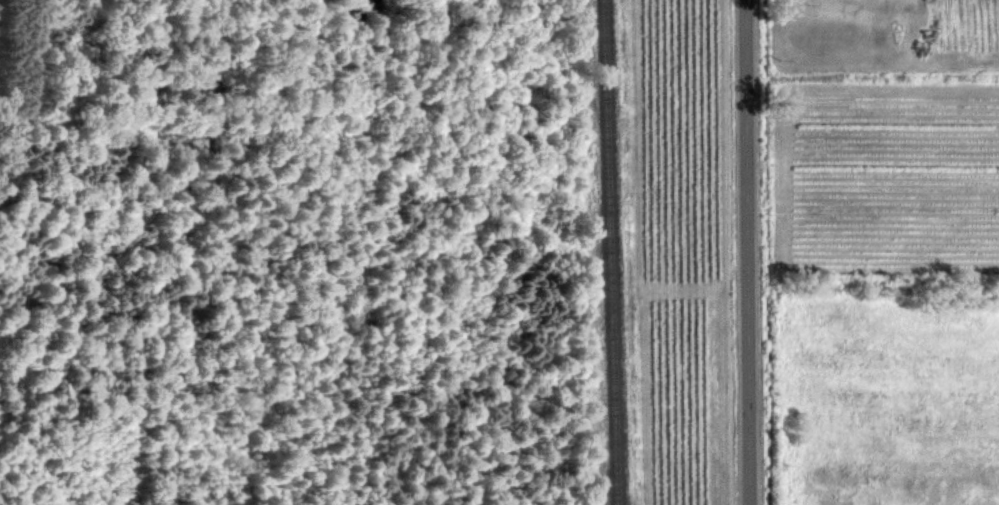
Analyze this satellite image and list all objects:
railway: (609, 252)
road: (746, 252)

